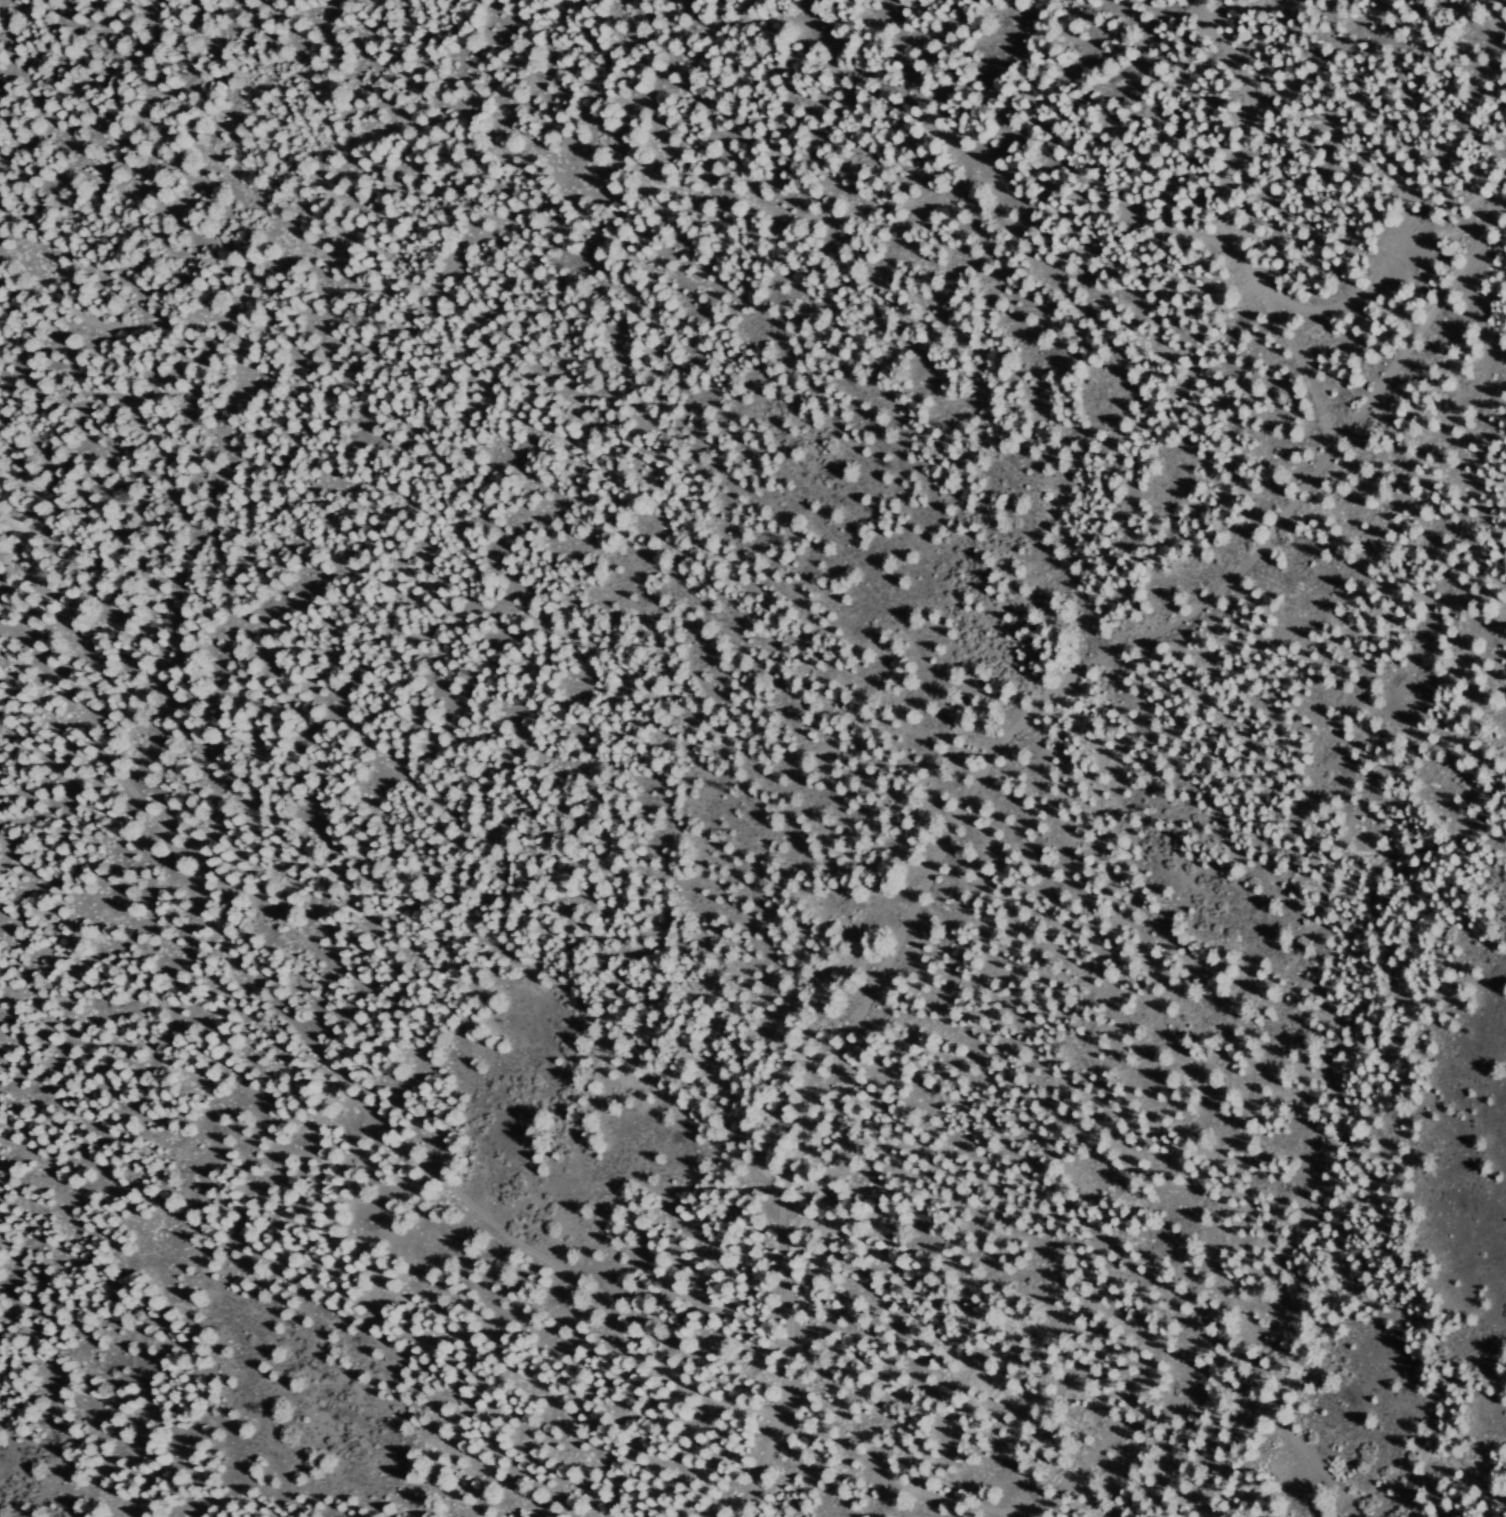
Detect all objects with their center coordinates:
road: (1003, 791)
road: (375, 1146)

